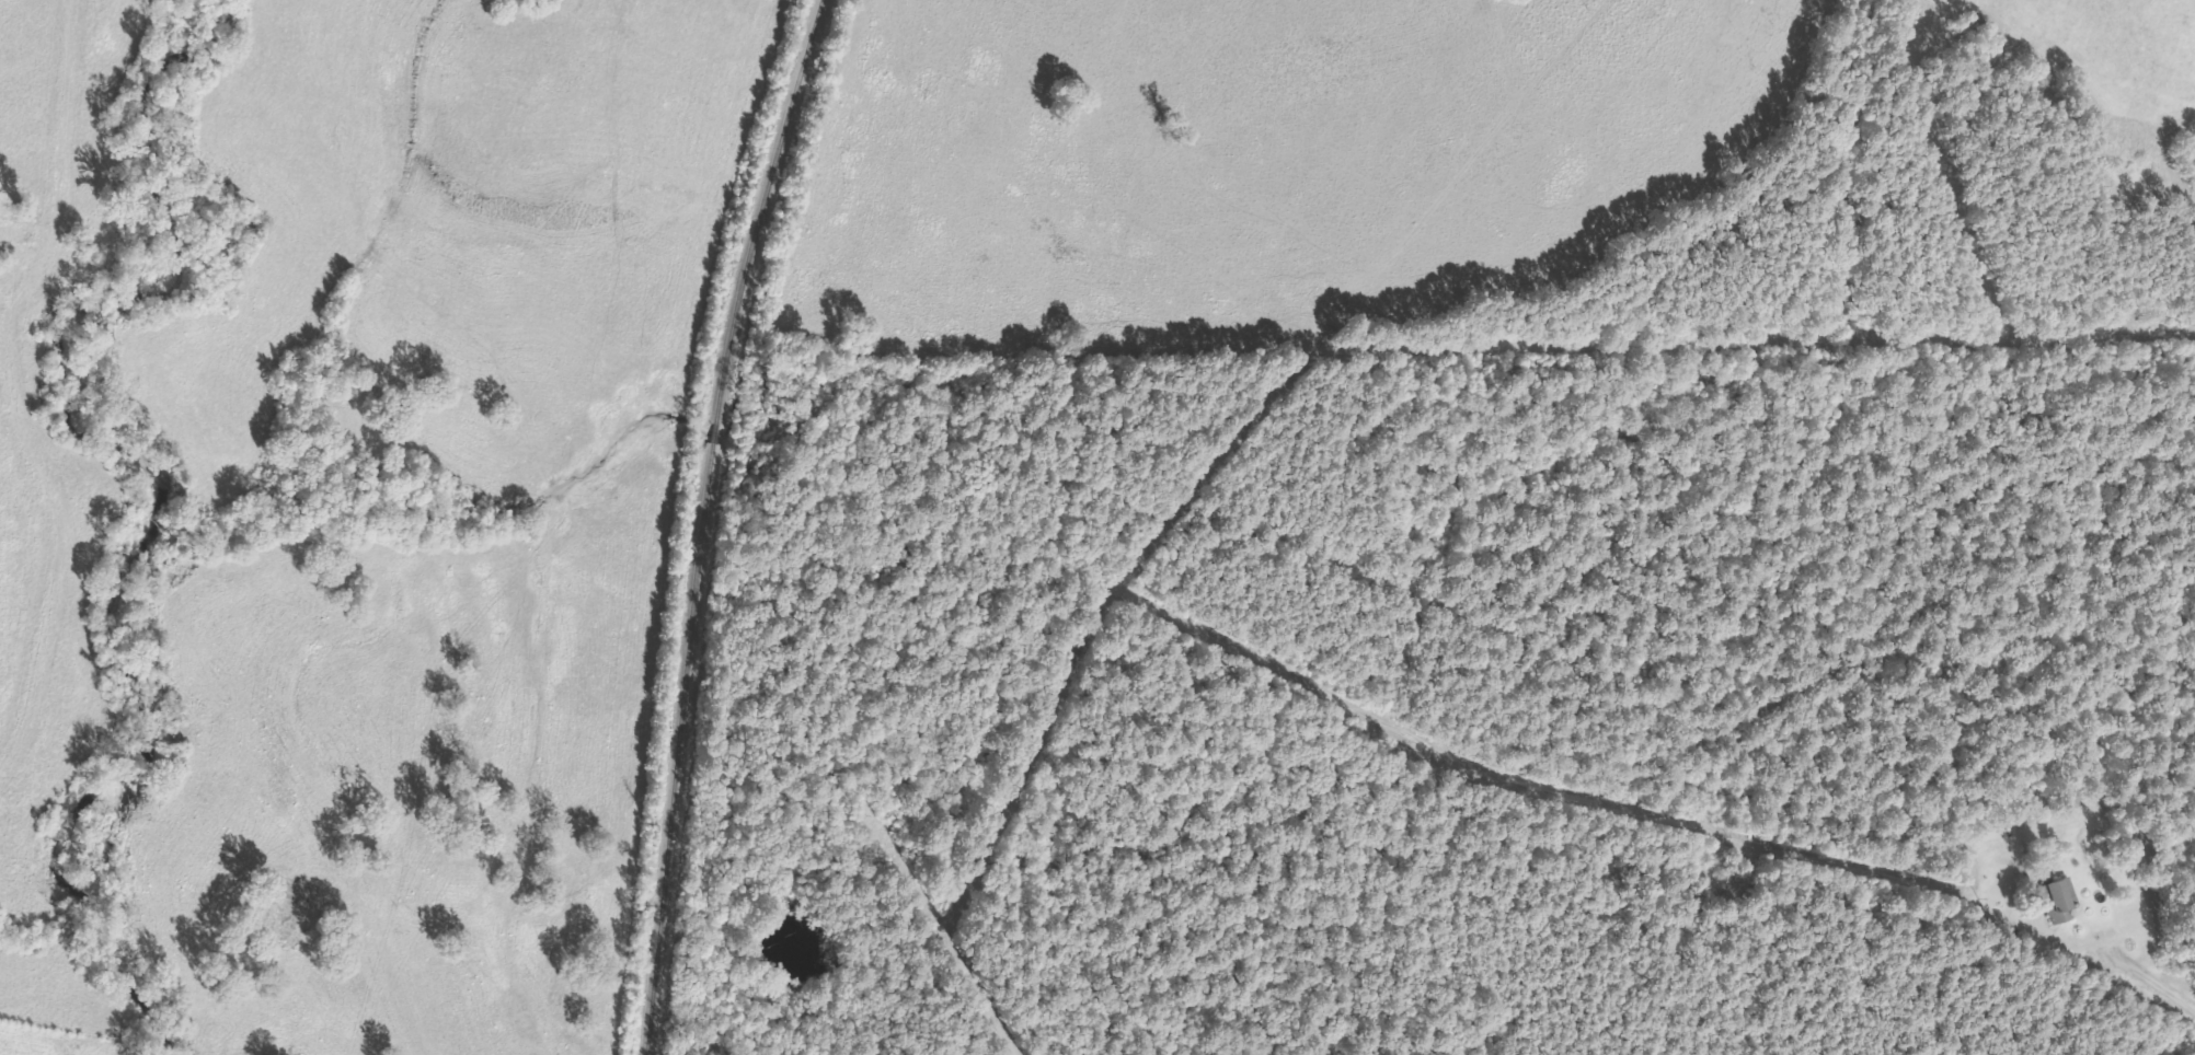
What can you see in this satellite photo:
railway: (699, 521)
road: (1187, 798)
road: (1849, 802)
building: (2056, 900)

